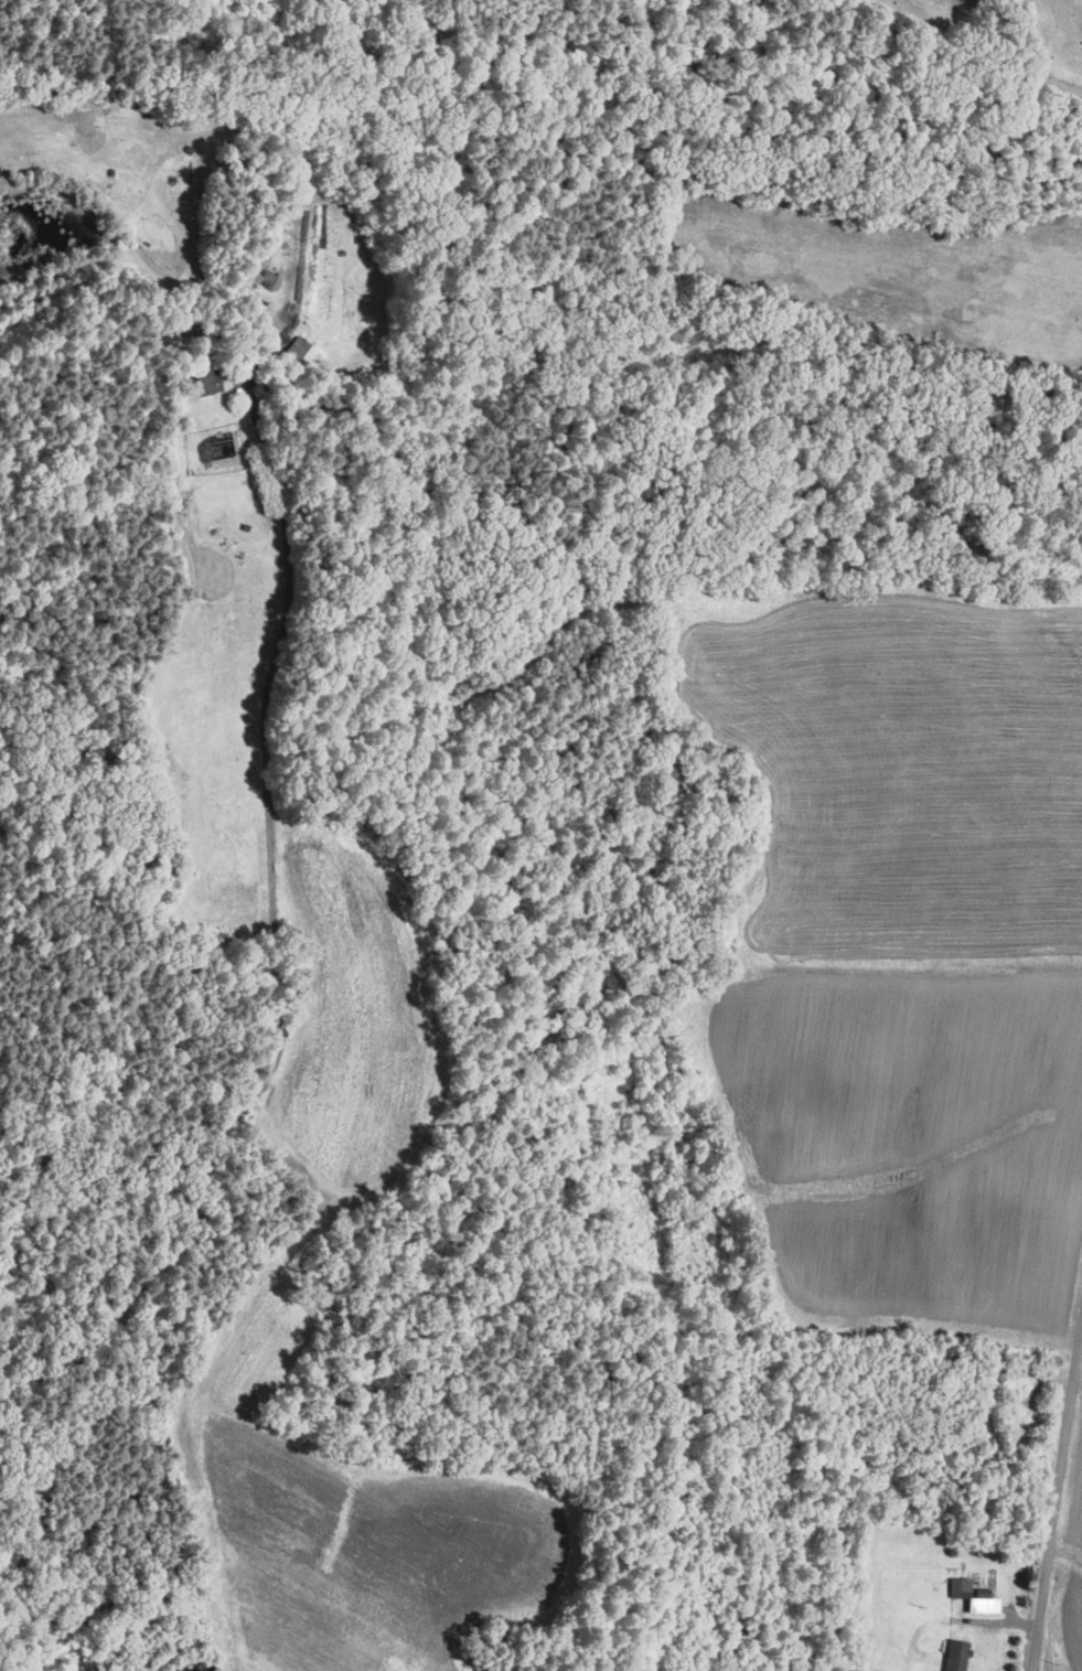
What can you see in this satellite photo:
building: (203, 379)
road: (271, 933)
road: (1056, 1499)
building: (971, 1595)
building: (954, 1654)

